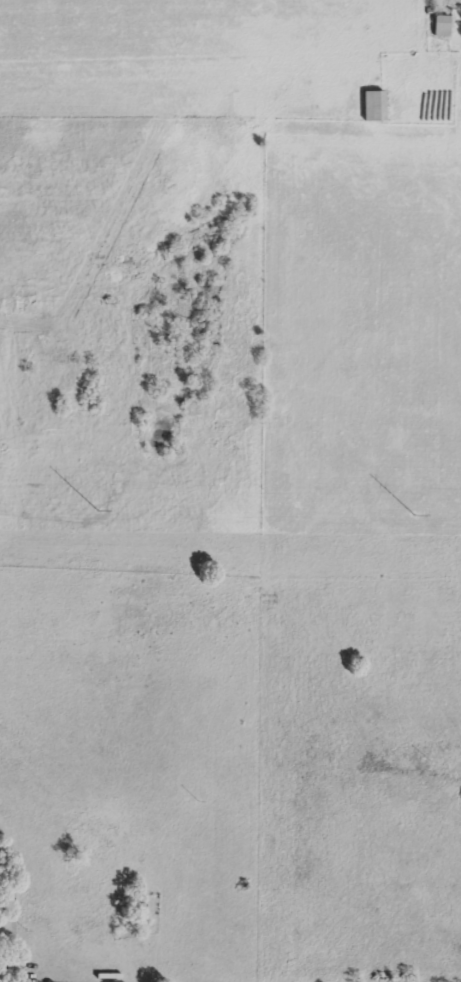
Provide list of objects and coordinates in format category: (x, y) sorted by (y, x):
building: (439, 25)
building: (371, 105)

